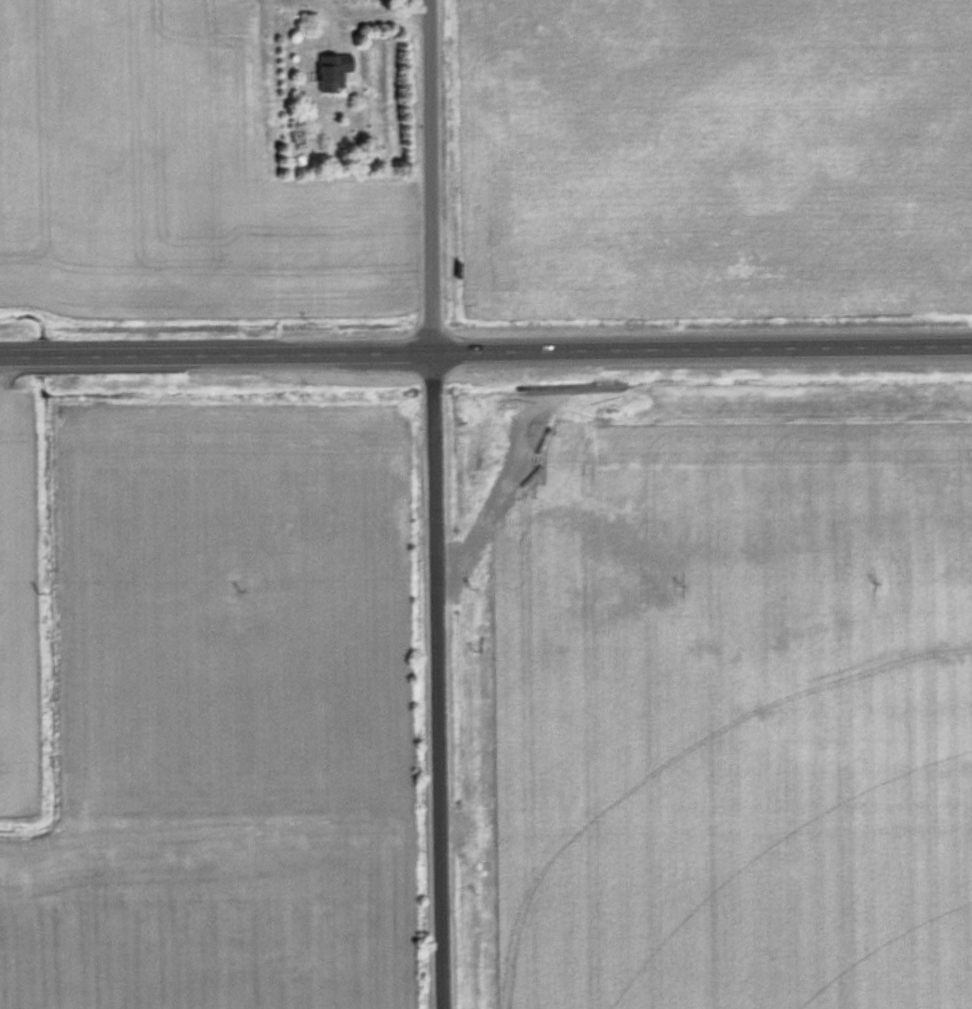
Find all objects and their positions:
road: (369, 16)
building: (336, 68)
road: (704, 353)
road: (218, 359)
road: (438, 504)

